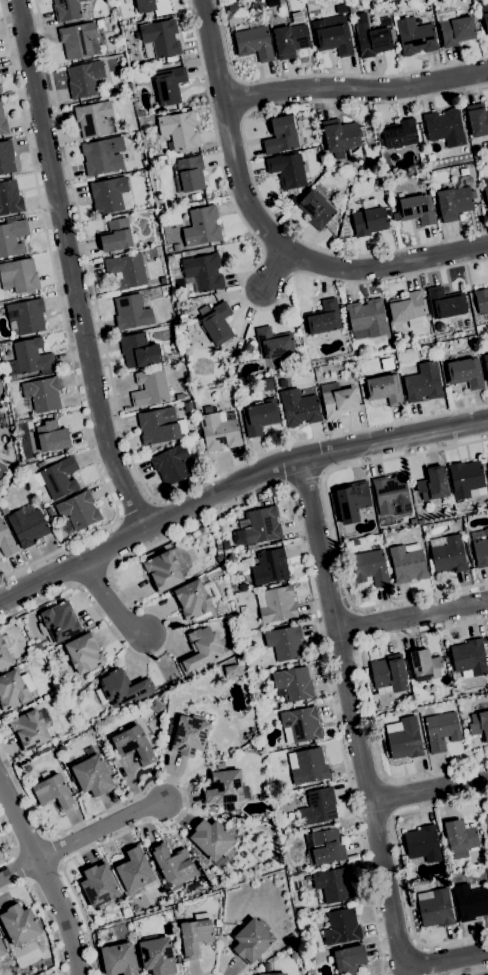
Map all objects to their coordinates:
building: (272, 2)
building: (310, 3)
building: (145, 5)
building: (256, 5)
building: (233, 7)
building: (352, 8)
building: (67, 9)
building: (394, 13)
building: (484, 13)
building: (100, 23)
building: (455, 27)
building: (415, 36)
building: (159, 38)
building: (371, 38)
building: (79, 40)
building: (290, 40)
building: (334, 40)
building: (254, 43)
road: (321, 74)
building: (84, 78)
building: (169, 85)
road: (356, 89)
building: (0, 92)
building: (93, 118)
building: (477, 119)
building: (3, 123)
building: (445, 127)
building: (180, 129)
building: (379, 133)
building: (401, 134)
building: (281, 135)
building: (341, 138)
building: (103, 156)
building: (6, 157)
road: (248, 159)
building: (287, 170)
building: (190, 173)
building: (485, 193)
building: (108, 195)
building: (195, 196)
building: (10, 198)
building: (456, 199)
building: (316, 209)
building: (416, 209)
building: (369, 221)
building: (202, 226)
road: (266, 227)
building: (347, 233)
building: (116, 235)
building: (12, 238)
building: (177, 246)
building: (169, 259)
road: (69, 268)
building: (126, 270)
road: (271, 270)
building: (204, 272)
road: (246, 274)
building: (19, 275)
building: (163, 280)
building: (156, 291)
building: (480, 303)
building: (188, 304)
building: (444, 305)
building: (408, 309)
building: (132, 312)
building: (26, 316)
building: (183, 317)
building: (368, 317)
building: (323, 318)
building: (216, 322)
road: (64, 325)
building: (397, 337)
building: (274, 343)
building: (247, 348)
building: (138, 350)
building: (236, 354)
building: (30, 358)
building: (486, 363)
building: (350, 366)
building: (465, 373)
building: (282, 382)
building: (423, 382)
building: (267, 384)
building: (150, 388)
building: (385, 389)
building: (43, 394)
building: (179, 396)
building: (337, 400)
building: (188, 406)
building: (299, 408)
building: (208, 409)
building: (259, 417)
road: (120, 424)
building: (160, 425)
building: (0, 430)
building: (219, 432)
building: (52, 437)
building: (51, 454)
building: (7, 456)
building: (487, 460)
building: (171, 464)
building: (2, 468)
building: (59, 477)
building: (465, 478)
road: (303, 479)
building: (433, 484)
road: (235, 485)
building: (392, 495)
building: (352, 500)
road: (134, 508)
building: (79, 509)
building: (4, 510)
building: (49, 512)
building: (241, 524)
building: (261, 525)
building: (28, 526)
road: (332, 527)
building: (372, 539)
building: (6, 541)
building: (355, 542)
building: (480, 547)
building: (448, 554)
building: (219, 557)
building: (232, 559)
building: (408, 562)
building: (270, 566)
building: (370, 567)
building: (166, 569)
building: (242, 586)
building: (195, 598)
road: (108, 599)
building: (276, 603)
road: (153, 609)
road: (413, 619)
building: (59, 622)
building: (244, 635)
building: (285, 643)
building: (37, 646)
building: (201, 650)
building: (84, 652)
building: (4, 655)
building: (469, 657)
building: (426, 665)
building: (233, 670)
building: (389, 674)
building: (292, 683)
building: (122, 688)
building: (12, 691)
road: (367, 699)
building: (157, 706)
building: (409, 711)
building: (168, 724)
building: (300, 724)
building: (479, 725)
building: (30, 728)
road: (337, 728)
building: (441, 730)
building: (189, 735)
building: (404, 738)
building: (134, 745)
building: (38, 749)
building: (61, 749)
road: (362, 752)
building: (220, 765)
building: (308, 765)
building: (27, 767)
building: (92, 774)
building: (223, 787)
building: (72, 789)
road: (430, 789)
road: (142, 790)
building: (53, 792)
building: (319, 806)
building: (486, 824)
road: (100, 830)
building: (460, 838)
building: (212, 841)
building: (423, 843)
road: (10, 844)
building: (324, 847)
building: (171, 861)
road: (19, 868)
road: (400, 868)
building: (134, 871)
road: (46, 876)
building: (307, 878)
building: (99, 885)
building: (334, 885)
building: (471, 902)
building: (136, 908)
building: (435, 908)
road: (43, 912)
road: (83, 919)
building: (19, 924)
building: (342, 926)
building: (196, 935)
building: (290, 937)
building: (252, 940)
building: (2, 948)
building: (157, 955)
building: (119, 959)
building: (177, 959)
building: (348, 959)
building: (267, 966)
road: (474, 972)
road: (206, 974)
building: (274, 974)

